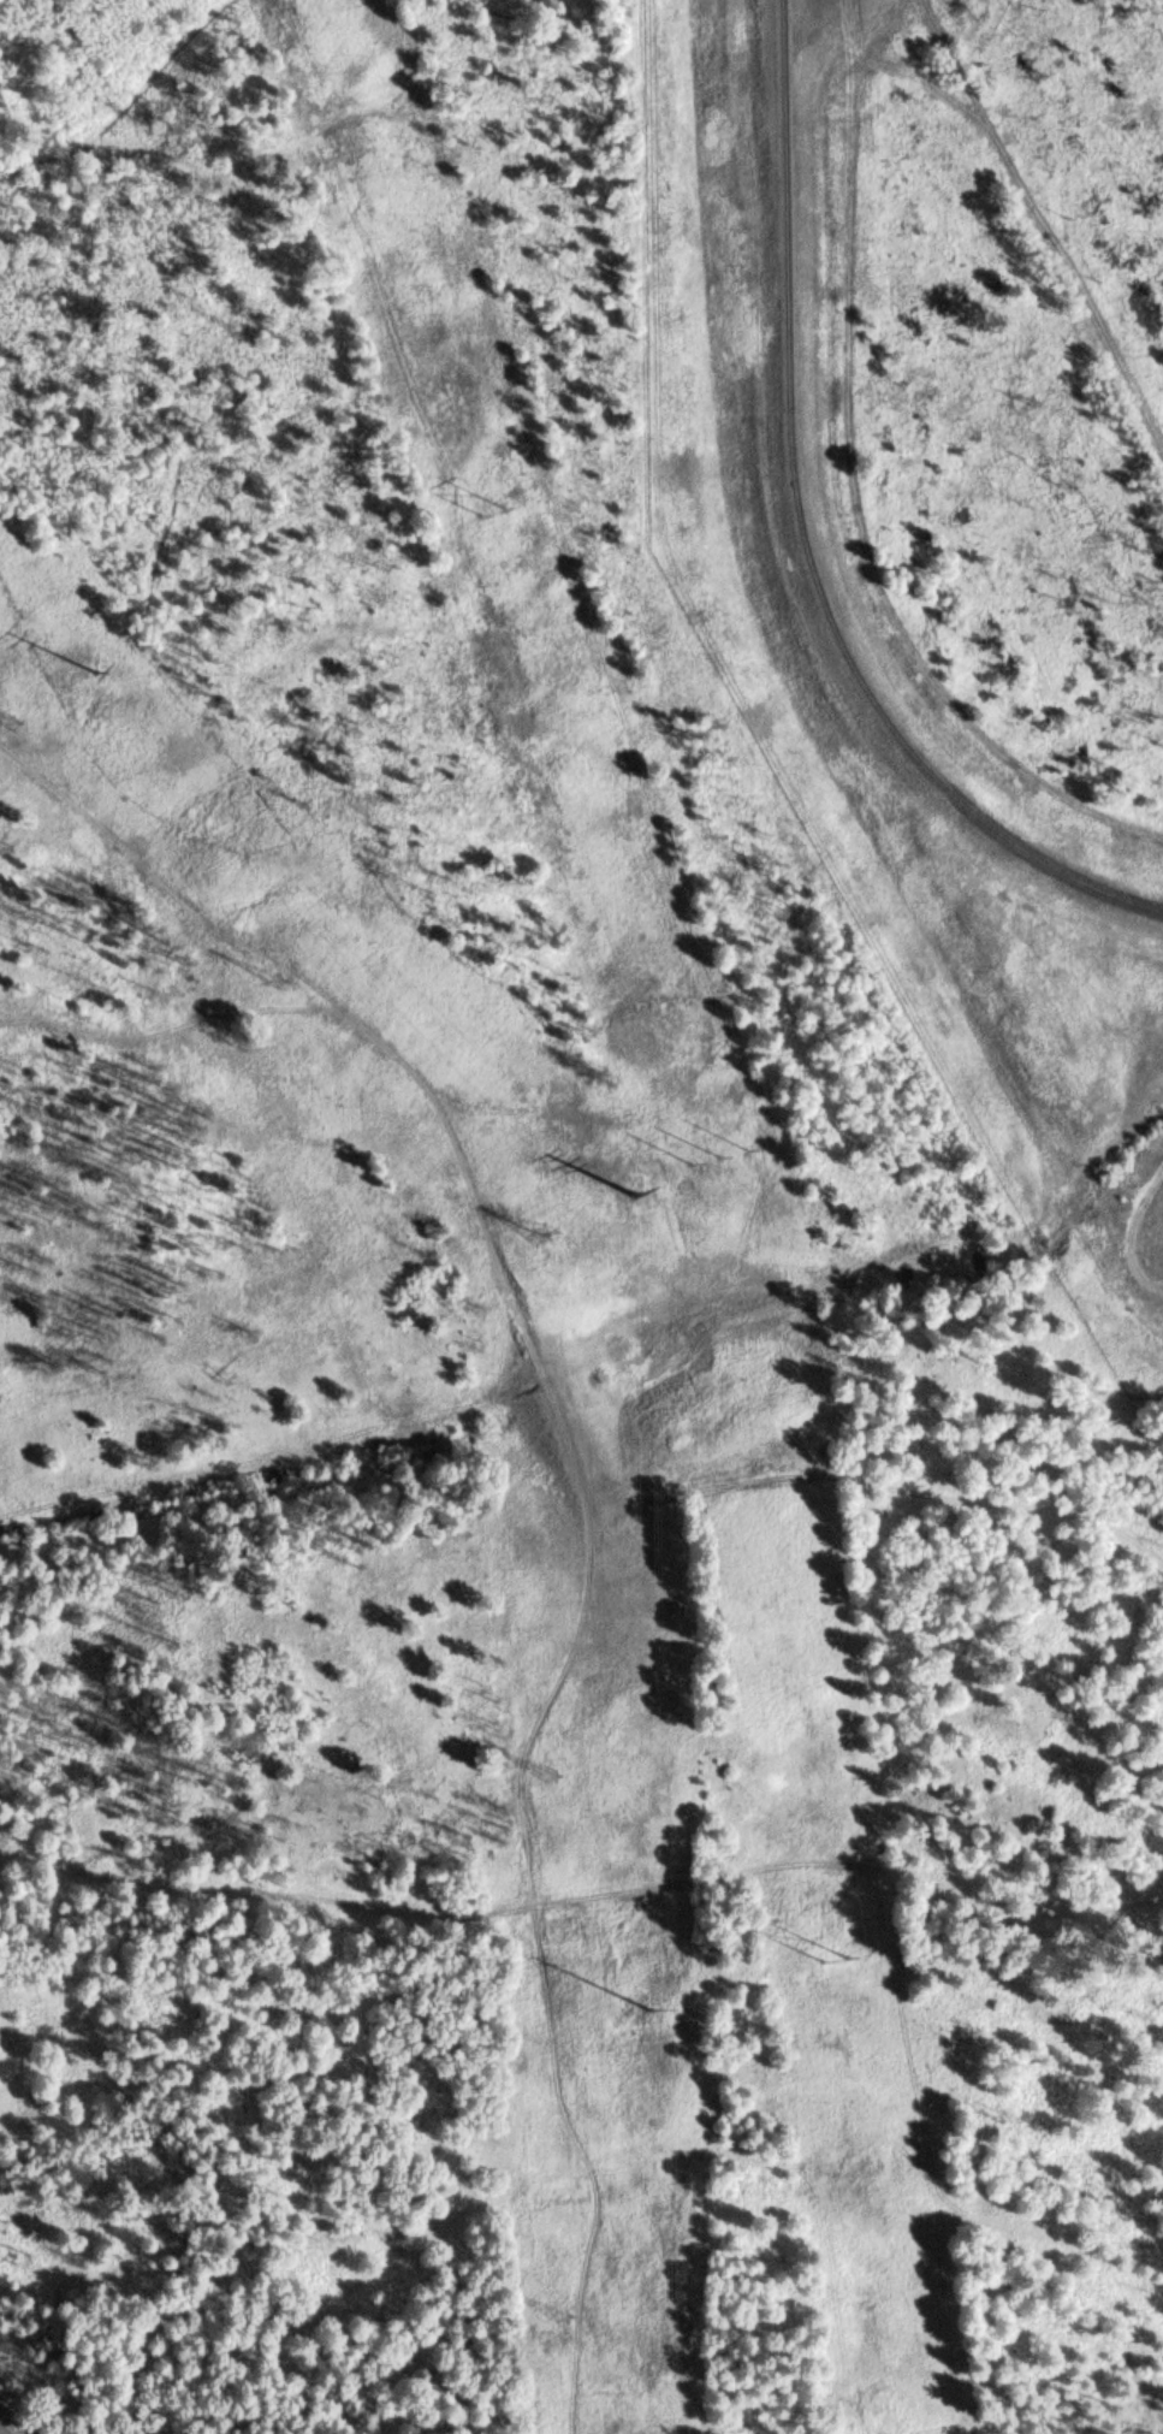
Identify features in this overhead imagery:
power tower: (493, 510)
railway: (807, 539)
power tower: (120, 665)
power tower: (13, 724)
power tower: (279, 981)
power tower: (716, 1157)
power tower: (653, 1196)
power tower: (546, 1233)
power tower: (551, 1775)
power tower: (826, 1962)
power tower: (689, 2009)
power tower: (565, 2316)

